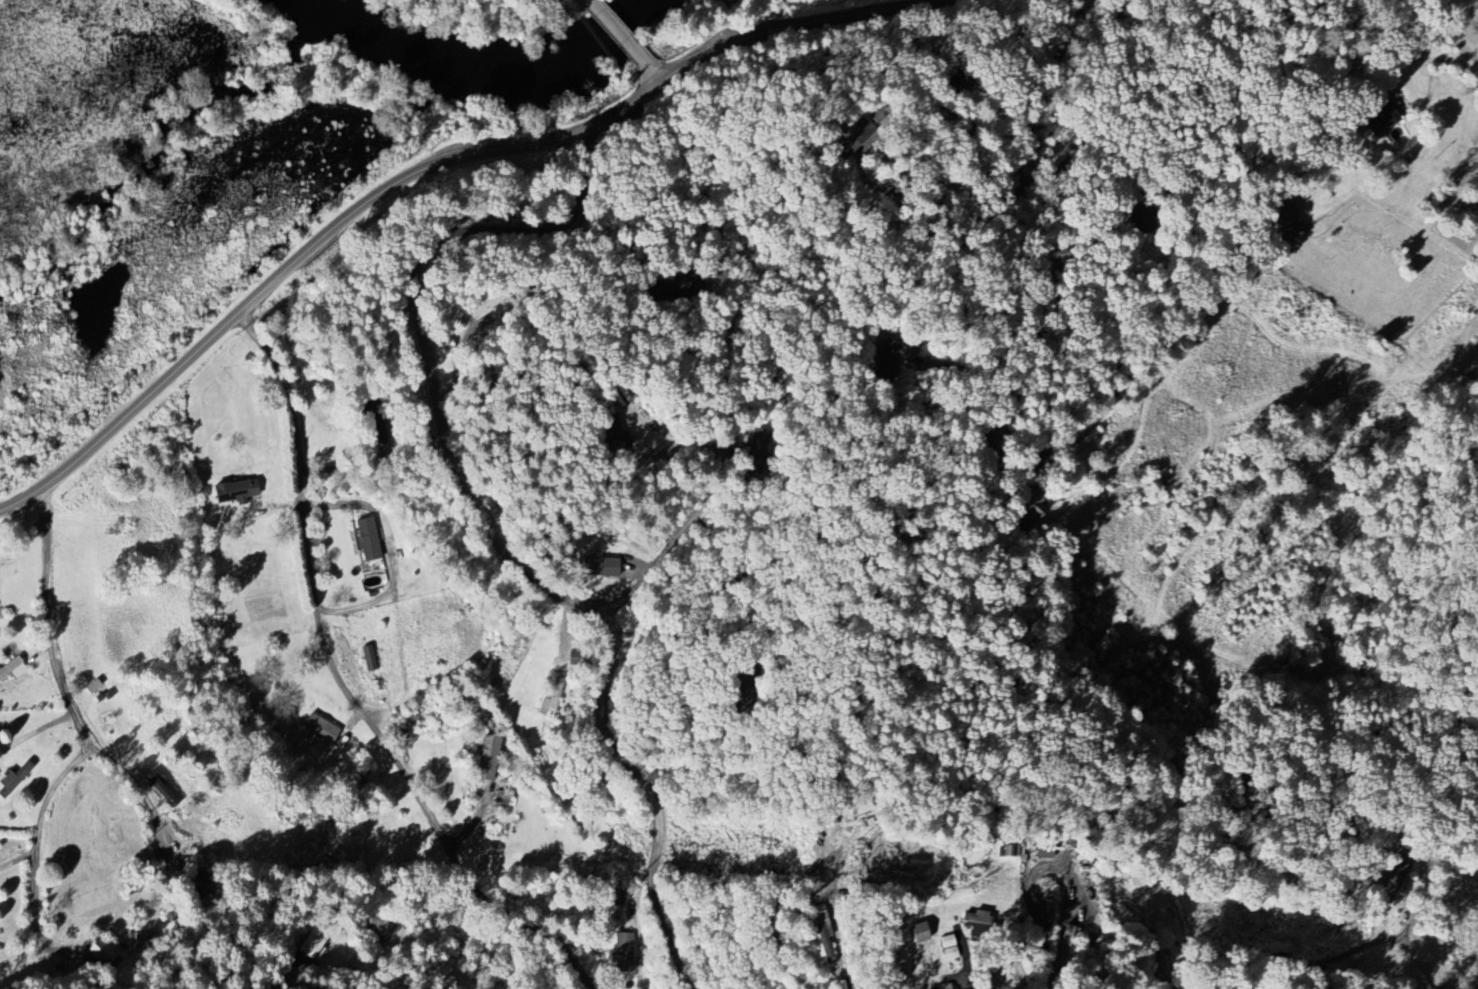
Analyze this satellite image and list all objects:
river: (329, 4)
road: (797, 22)
road: (620, 34)
road: (1304, 43)
river: (402, 46)
river: (563, 52)
road: (1430, 56)
road: (658, 74)
building: (1380, 118)
road: (472, 128)
park: (443, 136)
road: (470, 140)
parking lot: (475, 140)
road: (997, 158)
road: (1050, 180)
road: (695, 183)
road: (1035, 205)
road: (306, 250)
road: (1176, 326)
building: (885, 365)
building: (615, 443)
building: (232, 491)
road: (707, 501)
building: (1032, 513)
road: (491, 534)
building: (367, 544)
building: (598, 567)
road: (313, 589)
building: (367, 658)
building: (12, 668)
building: (555, 691)
building: (317, 728)
building: (485, 751)
building: (13, 779)
road: (138, 788)
road: (38, 825)
building: (1041, 850)
road: (806, 870)
building: (1393, 877)
building: (971, 918)
building: (911, 932)
building: (145, 940)
building: (311, 945)
building: (1064, 945)
building: (943, 947)
building: (621, 952)
road: (1346, 965)
building: (998, 968)
road: (1422, 977)
building: (937, 986)
road: (1038, 986)

